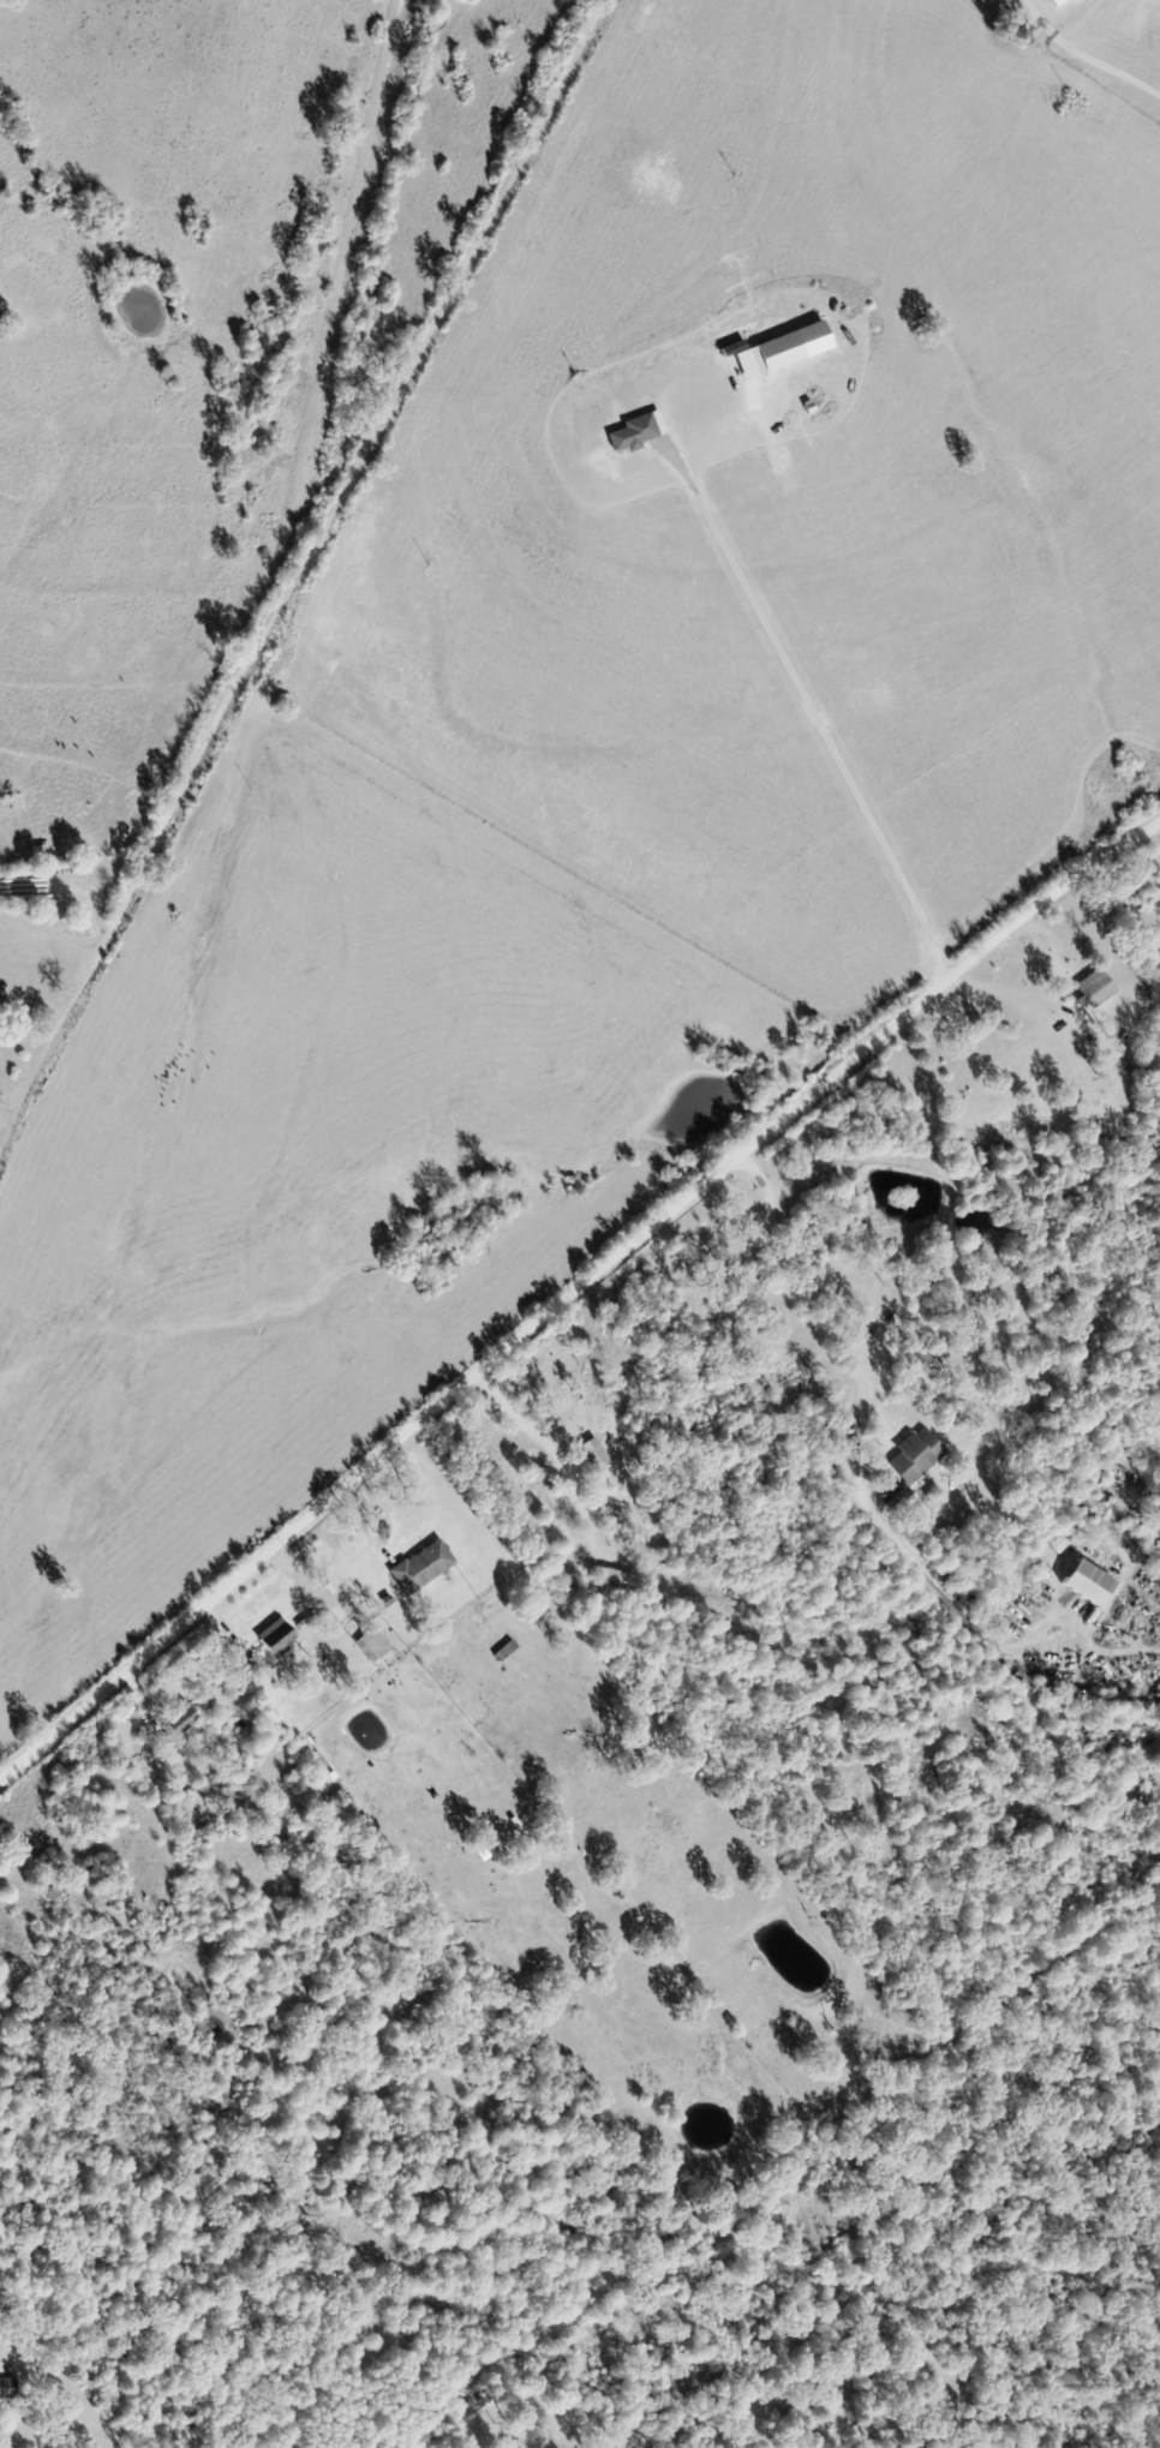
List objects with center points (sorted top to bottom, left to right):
road: (1089, 50)
building: (777, 353)
building: (633, 433)
road: (298, 579)
road: (811, 707)
road: (1158, 827)
railway: (196, 982)
building: (1094, 990)
road: (574, 1294)
road: (853, 1446)
building: (919, 1461)
building: (901, 1502)
building: (420, 1567)
building: (1084, 1584)
building: (371, 1645)
building: (8, 2395)
building: (466, 2447)

